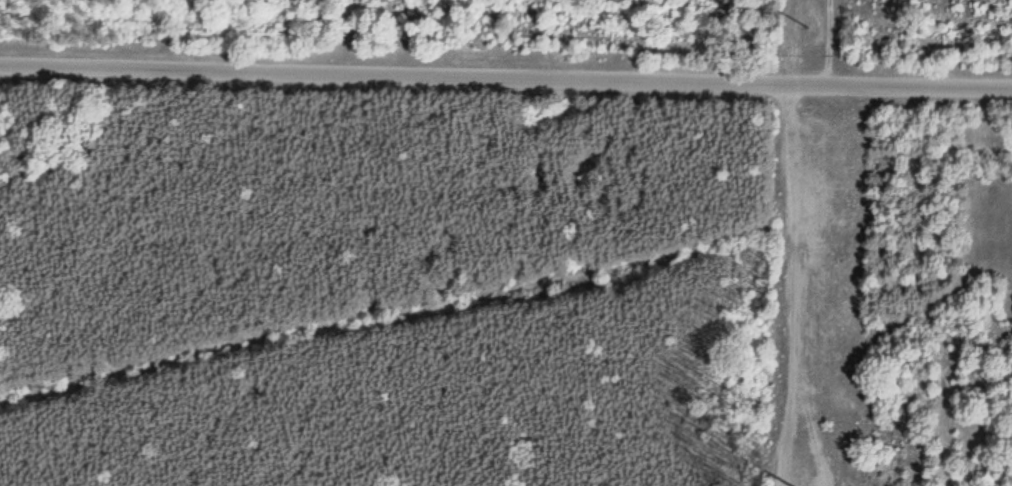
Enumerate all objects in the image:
road: (506, 68)

